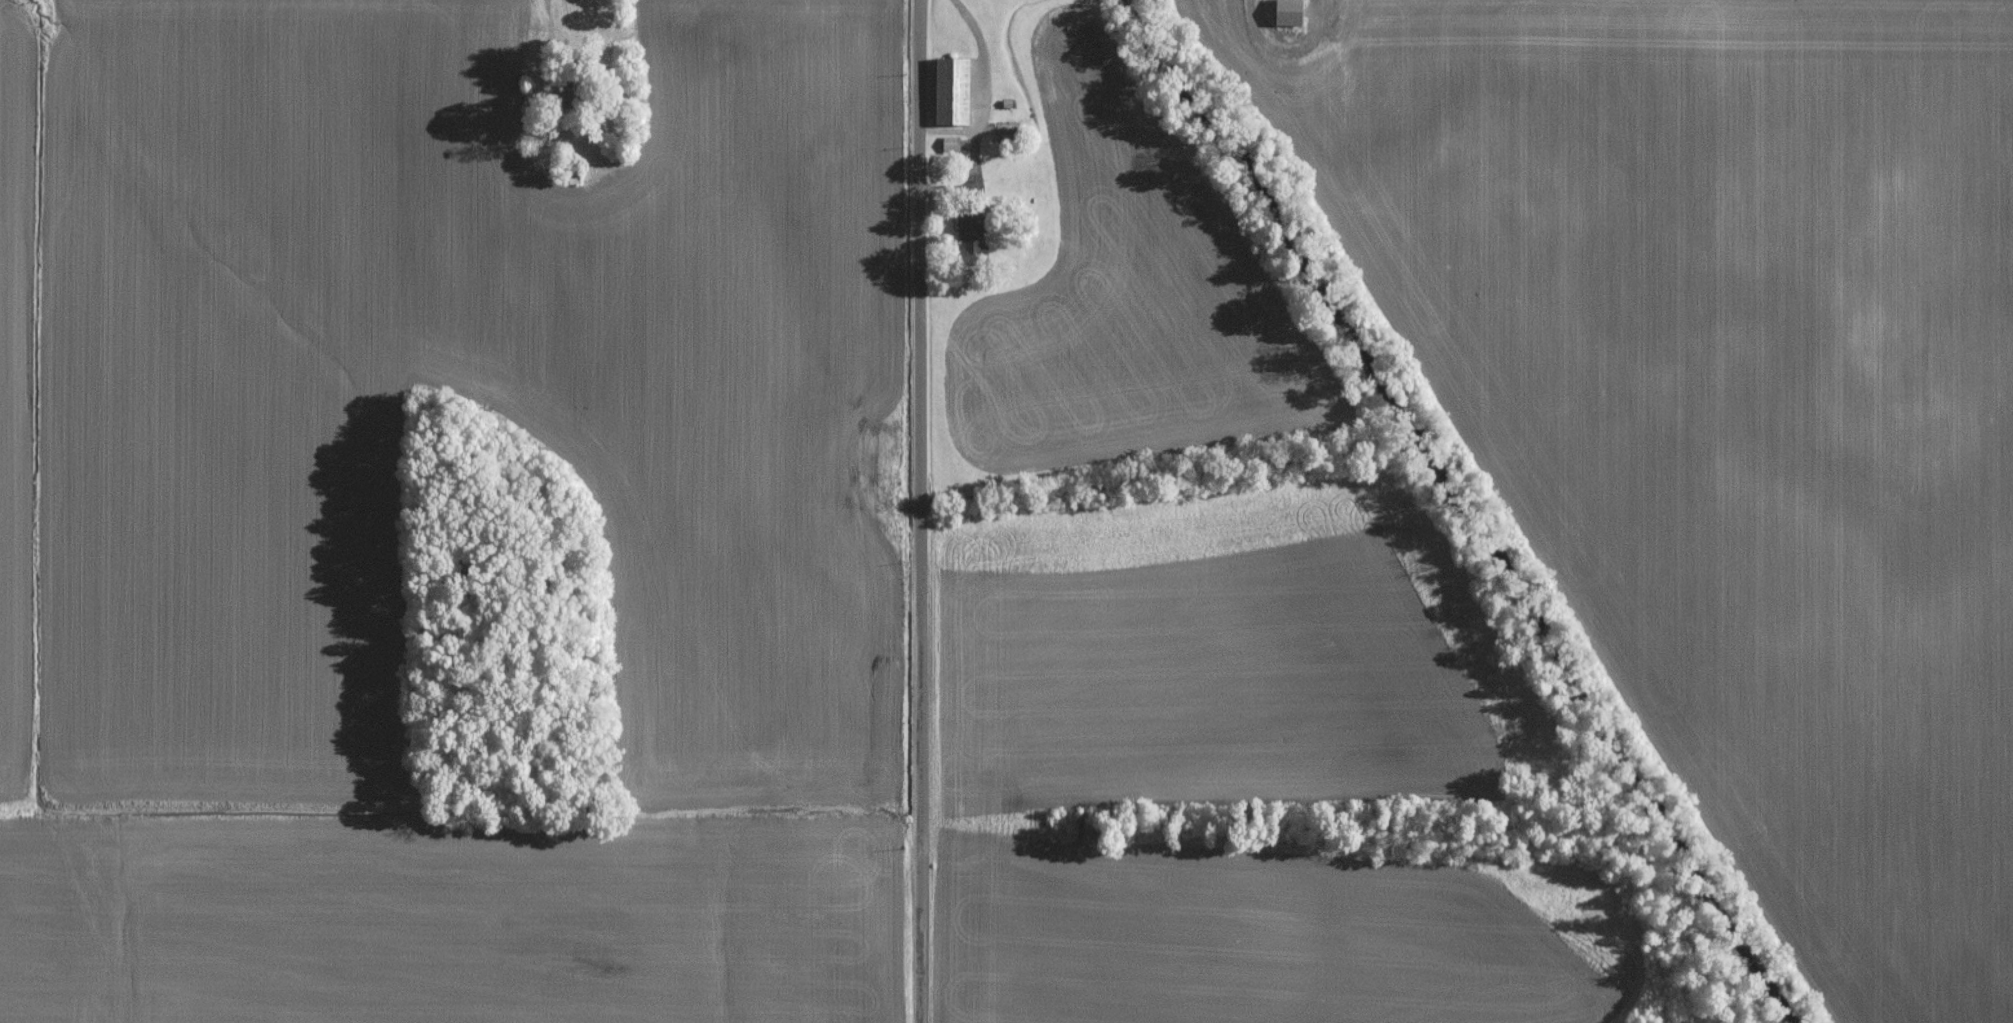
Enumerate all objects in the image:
building: (1284, 12)
building: (948, 91)
building: (949, 143)
building: (966, 237)
road: (935, 511)

